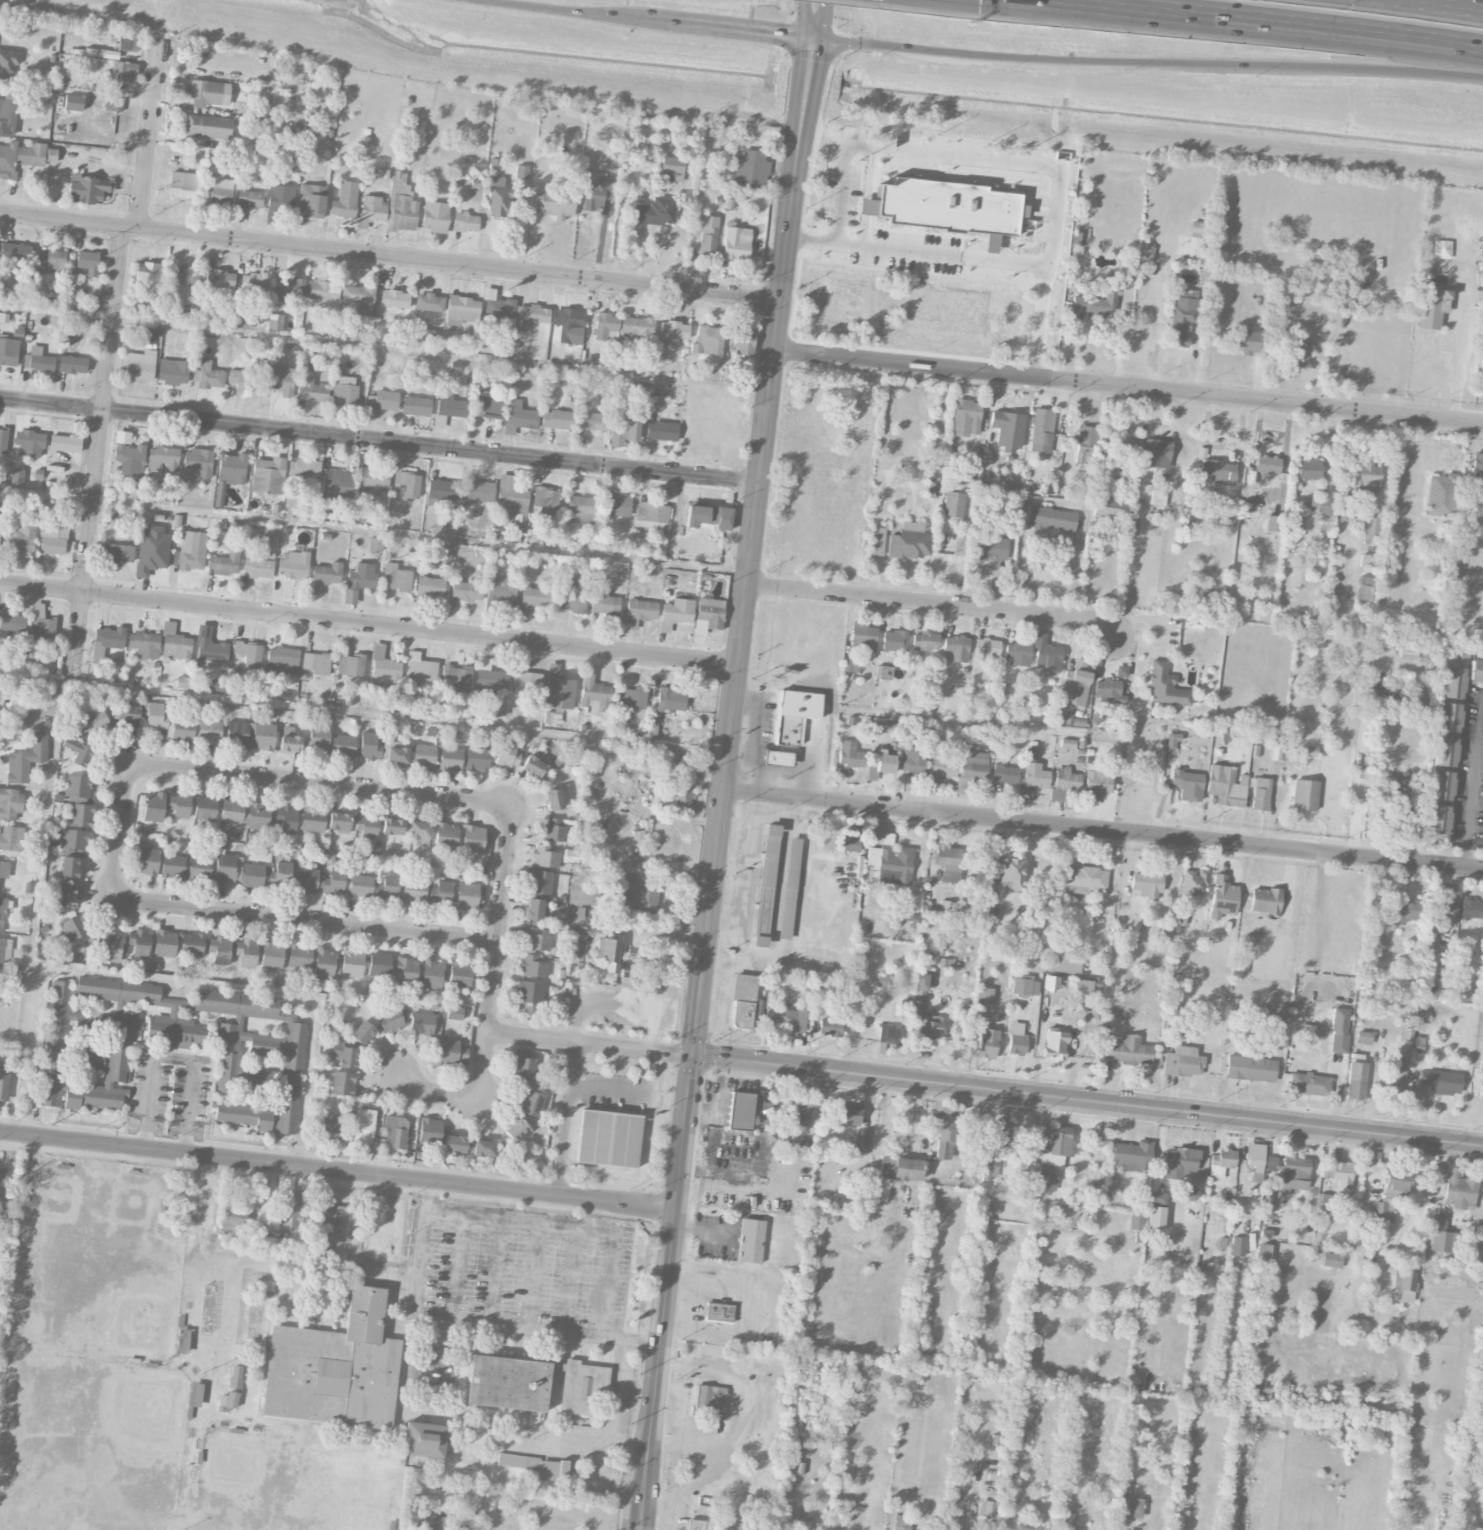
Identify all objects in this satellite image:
road: (1450, 4)
road: (560, 11)
road: (1265, 19)
road: (737, 30)
traffic signals: (814, 41)
building: (129, 43)
building: (9, 60)
road: (1148, 63)
building: (124, 71)
building: (206, 93)
building: (73, 102)
building: (113, 105)
building: (7, 116)
building: (207, 126)
road: (150, 135)
building: (904, 138)
building: (850, 146)
building: (51, 154)
building: (20, 157)
building: (609, 160)
building: (672, 169)
building: (751, 169)
building: (522, 171)
building: (183, 184)
building: (87, 188)
building: (219, 191)
building: (598, 194)
building: (249, 198)
building: (278, 198)
building: (345, 199)
building: (311, 200)
building: (497, 201)
building: (401, 204)
building: (555, 204)
building: (371, 210)
building: (655, 211)
building: (435, 216)
building: (465, 222)
building: (1196, 229)
building: (708, 236)
building: (736, 242)
building: (1441, 249)
building: (14, 251)
road: (971, 255)
road: (390, 257)
building: (52, 260)
building: (87, 261)
building: (148, 271)
building: (184, 275)
building: (220, 278)
building: (1110, 281)
building: (255, 285)
building: (290, 288)
building: (322, 292)
building: (1183, 293)
building: (394, 298)
building: (355, 301)
building: (429, 302)
building: (497, 306)
building: (1431, 307)
building: (462, 308)
building: (146, 309)
building: (529, 316)
building: (249, 318)
building: (1181, 319)
building: (275, 322)
building: (567, 323)
building: (605, 326)
building: (674, 330)
building: (151, 332)
building: (636, 332)
building: (429, 335)
building: (708, 340)
building: (741, 340)
building: (1247, 340)
building: (8, 351)
building: (1300, 353)
road: (1460, 357)
building: (38, 359)
building: (72, 364)
building: (139, 364)
building: (173, 371)
building: (1481, 374)
building: (207, 375)
building: (279, 379)
building: (243, 381)
road: (1129, 388)
building: (311, 390)
building: (344, 391)
building: (385, 400)
building: (416, 405)
building: (450, 405)
building: (487, 405)
building: (519, 416)
building: (966, 417)
building: (556, 419)
building: (589, 421)
building: (1007, 429)
building: (624, 430)
building: (661, 430)
building: (1042, 430)
building: (3, 440)
road: (380, 441)
building: (29, 443)
building: (65, 443)
building: (1086, 443)
building: (1156, 453)
building: (128, 455)
road: (97, 457)
building: (163, 457)
building: (198, 461)
building: (1477, 463)
building: (1267, 464)
building: (304, 468)
building: (1308, 469)
building: (1219, 471)
building: (229, 473)
building: (268, 475)
building: (17, 476)
building: (373, 477)
building: (1364, 477)
building: (932, 481)
building: (337, 483)
building: (408, 483)
building: (441, 489)
building: (478, 490)
building: (1440, 494)
building: (510, 498)
building: (1157, 498)
building: (545, 500)
building: (954, 503)
building: (616, 505)
building: (1321, 505)
building: (1108, 507)
building: (581, 509)
building: (652, 514)
building: (708, 515)
building: (1051, 518)
building: (1371, 530)
building: (20, 536)
building: (53, 540)
building: (877, 541)
building: (910, 544)
building: (988, 546)
building: (152, 550)
building: (191, 551)
building: (118, 552)
building: (223, 563)
building: (293, 564)
building: (258, 568)
building: (326, 573)
building: (362, 576)
building: (396, 577)
building: (430, 586)
building: (1364, 588)
building: (501, 590)
building: (466, 591)
building: (350, 596)
building: (572, 597)
building: (534, 599)
building: (604, 603)
road: (937, 605)
building: (639, 612)
building: (675, 613)
building: (708, 614)
building: (11, 622)
road: (370, 624)
building: (41, 625)
building: (862, 637)
building: (107, 640)
building: (894, 640)
building: (925, 641)
building: (144, 644)
building: (210, 646)
building: (987, 647)
building: (956, 648)
building: (1408, 650)
building: (1425, 652)
building: (249, 653)
building: (1018, 654)
building: (1046, 654)
building: (282, 659)
building: (316, 663)
building: (350, 664)
building: (851, 665)
building: (383, 668)
building: (419, 670)
building: (1121, 671)
building: (1476, 671)
building: (883, 672)
building: (458, 677)
building: (490, 679)
building: (183, 682)
building: (526, 682)
building: (1452, 682)
building: (1075, 683)
building: (1165, 686)
building: (559, 688)
building: (1108, 691)
building: (594, 692)
building: (1398, 692)
building: (631, 697)
building: (670, 699)
building: (126, 713)
building: (794, 714)
building: (154, 715)
building: (1448, 717)
building: (91, 720)
building: (208, 730)
building: (250, 734)
building: (318, 736)
building: (289, 743)
building: (1172, 743)
building: (342, 746)
building: (369, 746)
building: (1308, 750)
building: (78, 751)
building: (1444, 751)
building: (397, 754)
building: (423, 754)
building: (507, 754)
building: (849, 754)
road: (1360, 756)
building: (776, 757)
building: (450, 758)
building: (26, 759)
building: (476, 759)
building: (912, 760)
road: (728, 764)
building: (880, 764)
building: (684, 765)
building: (974, 765)
building: (532, 766)
building: (942, 767)
building: (1005, 773)
road: (1476, 774)
building: (1033, 776)
building: (1063, 783)
road: (320, 784)
building: (1096, 784)
building: (1187, 784)
building: (1226, 785)
building: (1440, 785)
building: (1260, 793)
building: (1304, 795)
building: (682, 796)
building: (553, 799)
building: (79, 800)
road: (1334, 801)
building: (10, 803)
building: (179, 805)
building: (153, 806)
building: (205, 808)
building: (232, 810)
building: (258, 815)
building: (1404, 815)
building: (300, 819)
building: (1437, 819)
building: (338, 820)
building: (366, 825)
building: (392, 826)
building: (554, 830)
road: (1103, 830)
road: (118, 831)
building: (419, 832)
building: (445, 835)
building: (11, 838)
building: (472, 838)
building: (75, 839)
building: (847, 843)
road: (1467, 852)
building: (545, 856)
building: (146, 861)
building: (948, 862)
building: (891, 863)
building: (69, 866)
building: (173, 866)
building: (200, 867)
building: (225, 867)
building: (4, 868)
building: (1008, 873)
building: (252, 875)
building: (280, 875)
building: (1085, 880)
building: (319, 881)
building: (540, 882)
building: (1194, 882)
building: (1147, 884)
building: (765, 885)
building: (359, 886)
building: (387, 887)
building: (789, 887)
building: (413, 891)
building: (441, 891)
building: (584, 893)
building: (638, 894)
building: (66, 895)
building: (466, 896)
building: (1222, 897)
building: (1265, 900)
building: (1447, 908)
building: (533, 909)
building: (1471, 909)
building: (1403, 910)
building: (2, 913)
road: (305, 920)
building: (73, 927)
building: (535, 939)
building: (139, 942)
building: (167, 943)
building: (191, 944)
building: (111, 947)
building: (220, 949)
building: (4, 950)
building: (246, 952)
road: (497, 953)
building: (608, 953)
building: (271, 955)
building: (300, 955)
building: (326, 963)
building: (352, 963)
building: (381, 963)
building: (533, 966)
building: (1066, 966)
building: (406, 969)
building: (431, 974)
building: (459, 975)
road: (176, 981)
building: (920, 981)
building: (1050, 983)
building: (1025, 985)
building: (529, 991)
building: (984, 997)
building: (1482, 1000)
building: (745, 1002)
building: (1282, 1004)
building: (454, 1012)
building: (782, 1016)
building: (391, 1020)
building: (925, 1021)
building: (421, 1023)
building: (829, 1027)
building: (1310, 1029)
building: (1339, 1030)
building: (362, 1032)
building: (889, 1034)
building: (1363, 1037)
road: (591, 1041)
building: (987, 1043)
building: (1017, 1044)
building: (1054, 1044)
building: (1125, 1050)
building: (449, 1052)
building: (259, 1053)
traffic signals: (695, 1053)
building: (344, 1054)
road: (174, 1056)
building: (1481, 1059)
building: (1183, 1061)
building: (524, 1067)
building: (1250, 1067)
building: (1393, 1073)
building: (1355, 1080)
building: (1440, 1081)
building: (4, 1082)
building: (343, 1083)
building: (1309, 1084)
road: (611, 1087)
building: (1482, 1088)
road: (436, 1095)
road: (1088, 1099)
building: (530, 1103)
building: (741, 1111)
building: (799, 1113)
building: (849, 1115)
road: (566, 1118)
building: (364, 1126)
building: (330, 1127)
building: (515, 1130)
building: (394, 1131)
building: (430, 1131)
building: (1002, 1134)
building: (944, 1135)
building: (608, 1138)
building: (860, 1142)
building: (454, 1144)
building: (1057, 1146)
building: (483, 1148)
building: (1132, 1156)
building: (1254, 1160)
building: (1180, 1161)
building: (1221, 1162)
building: (1270, 1163)
building: (990, 1167)
building: (900, 1168)
road: (338, 1170)
building: (1294, 1173)
building: (1338, 1173)
building: (1046, 1182)
building: (3, 1183)
building: (1459, 1190)
building: (1191, 1193)
building: (1390, 1195)
road: (503, 1201)
building: (1322, 1202)
building: (1061, 1207)
road: (589, 1211)
building: (1156, 1211)
building: (290, 1212)
building: (234, 1220)
building: (1136, 1221)
road: (575, 1222)
building: (334, 1223)
building: (1442, 1237)
building: (750, 1241)
building: (1237, 1246)
building: (1473, 1247)
building: (1263, 1250)
road: (496, 1268)
building: (1404, 1285)
road: (748, 1307)
building: (717, 1312)
building: (254, 1319)
road: (474, 1321)
building: (182, 1341)
building: (334, 1367)
building: (235, 1376)
building: (533, 1383)
building: (195, 1394)
building: (228, 1399)
building: (709, 1400)
road: (737, 1409)
building: (423, 1438)
building: (538, 1466)
building: (1129, 1507)
building: (430, 1521)
building: (902, 1522)
building: (699, 1524)

